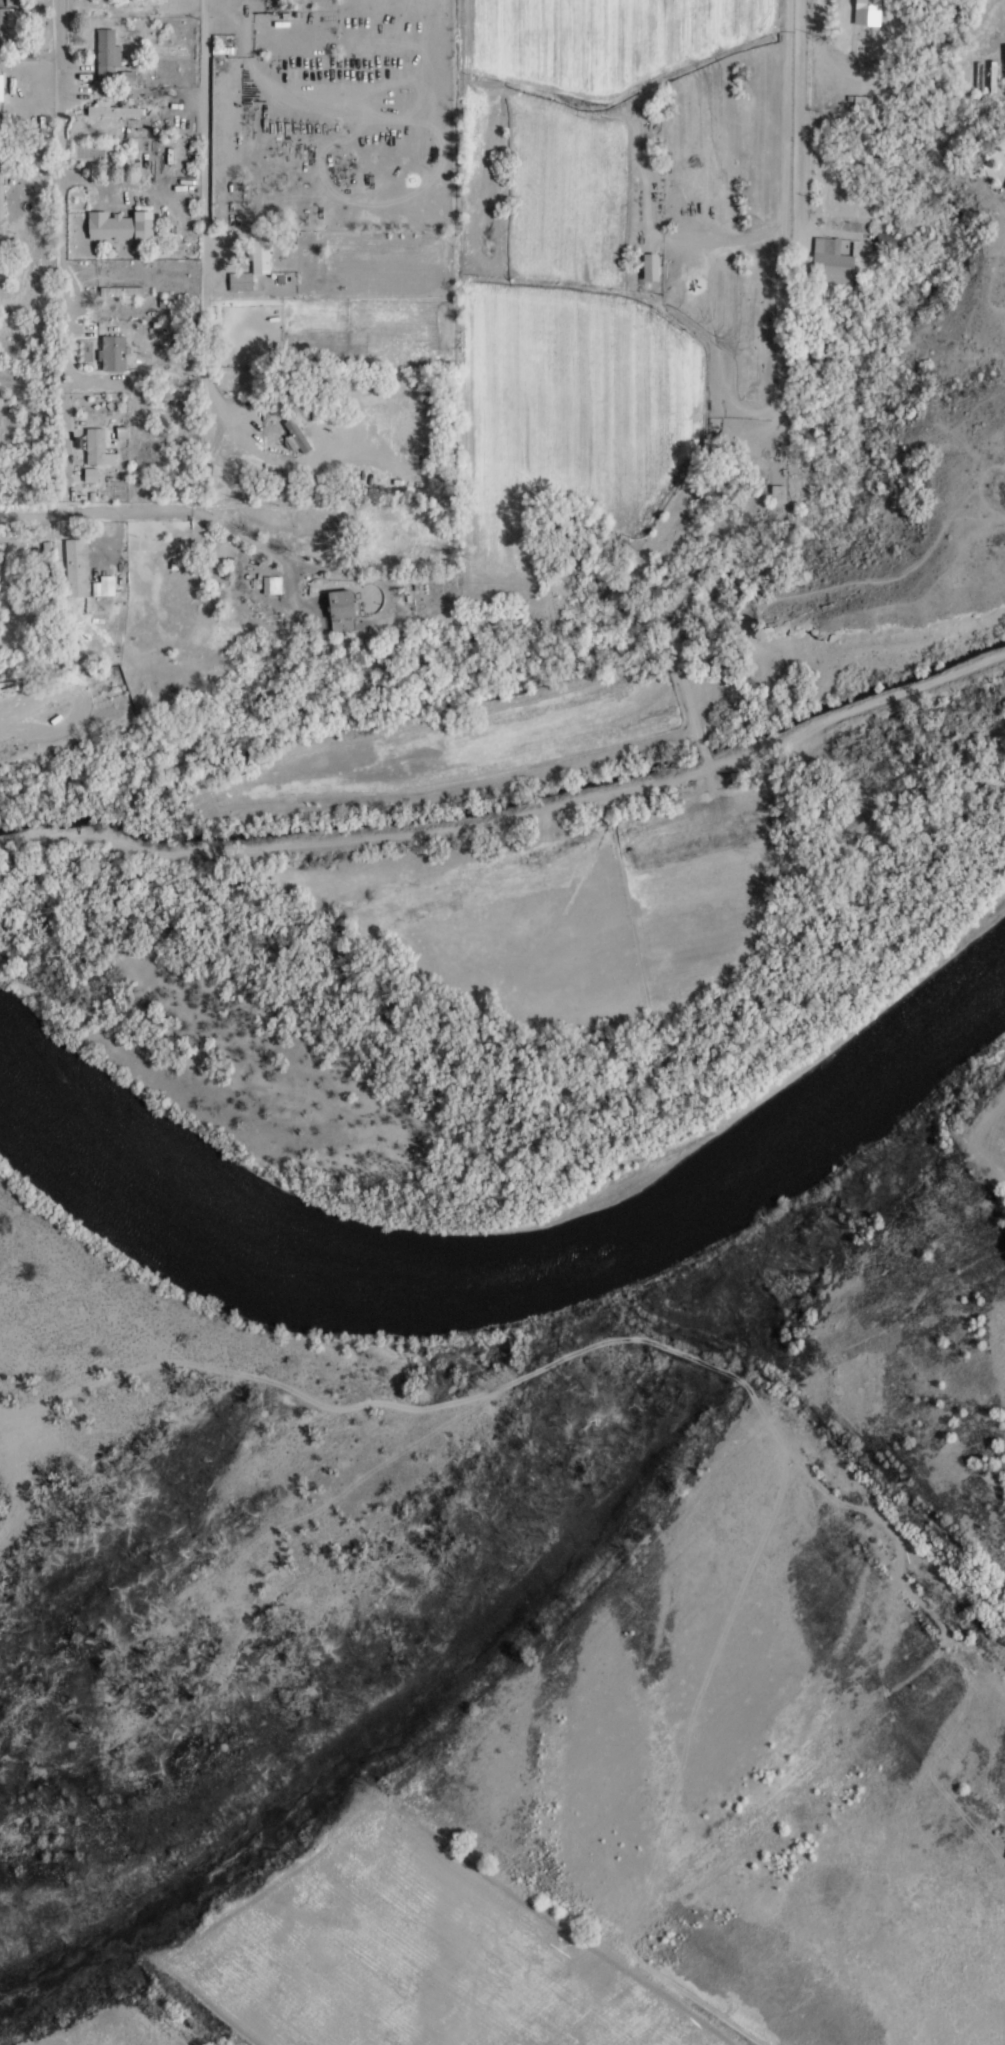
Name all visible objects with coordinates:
building: (868, 12)
building: (4, 26)
building: (107, 55)
building: (0, 97)
building: (97, 110)
road: (240, 155)
road: (60, 174)
building: (1, 195)
building: (120, 226)
road: (799, 245)
building: (834, 261)
building: (651, 267)
building: (123, 292)
building: (114, 353)
building: (170, 396)
building: (298, 436)
building: (94, 456)
road: (67, 468)
building: (76, 568)
building: (273, 585)
building: (104, 586)
building: (343, 611)
river: (516, 1254)

